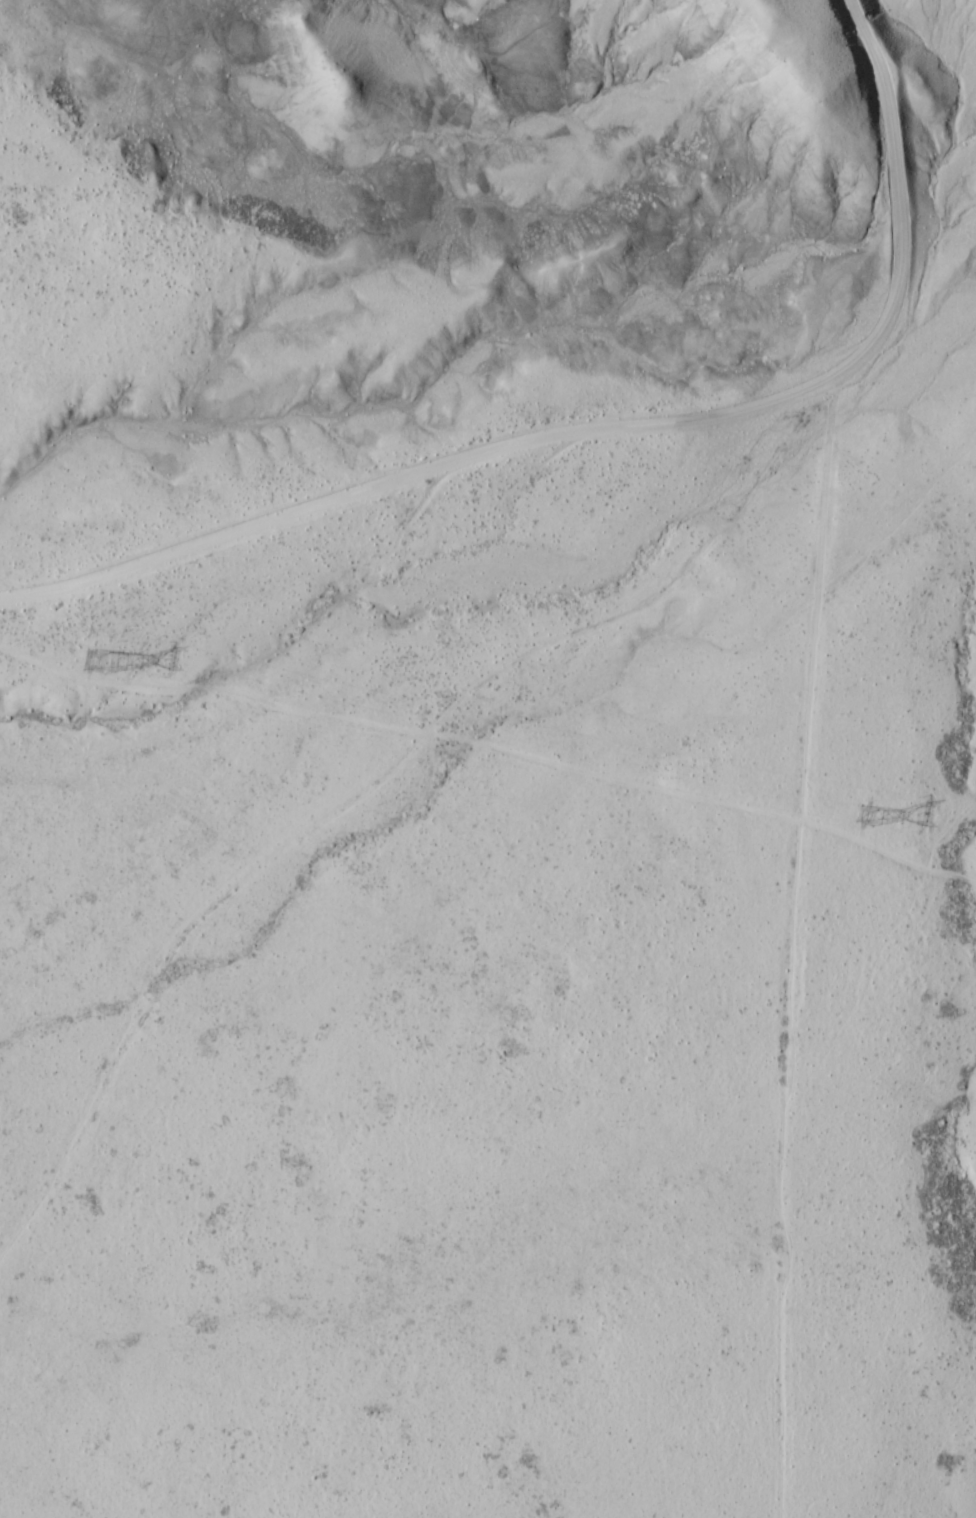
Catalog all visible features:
road: (791, 230)
road: (373, 489)
road: (495, 549)
road: (49, 580)
power tower: (87, 643)
power tower: (862, 803)
road: (118, 807)

